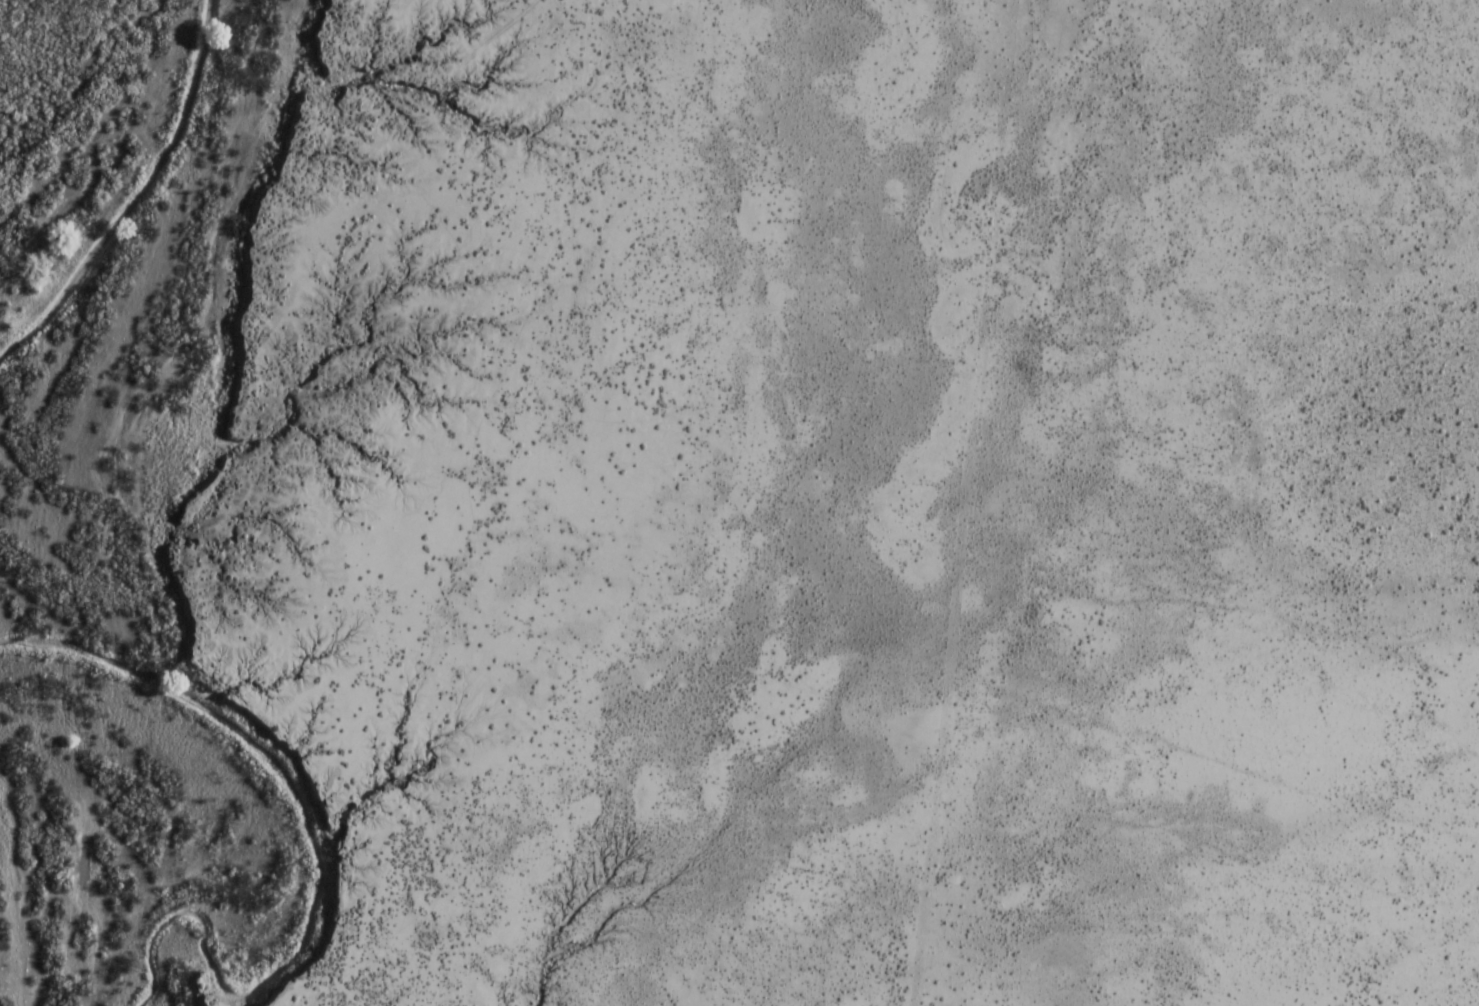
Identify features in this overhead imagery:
river: (114, 178)
river: (263, 816)

